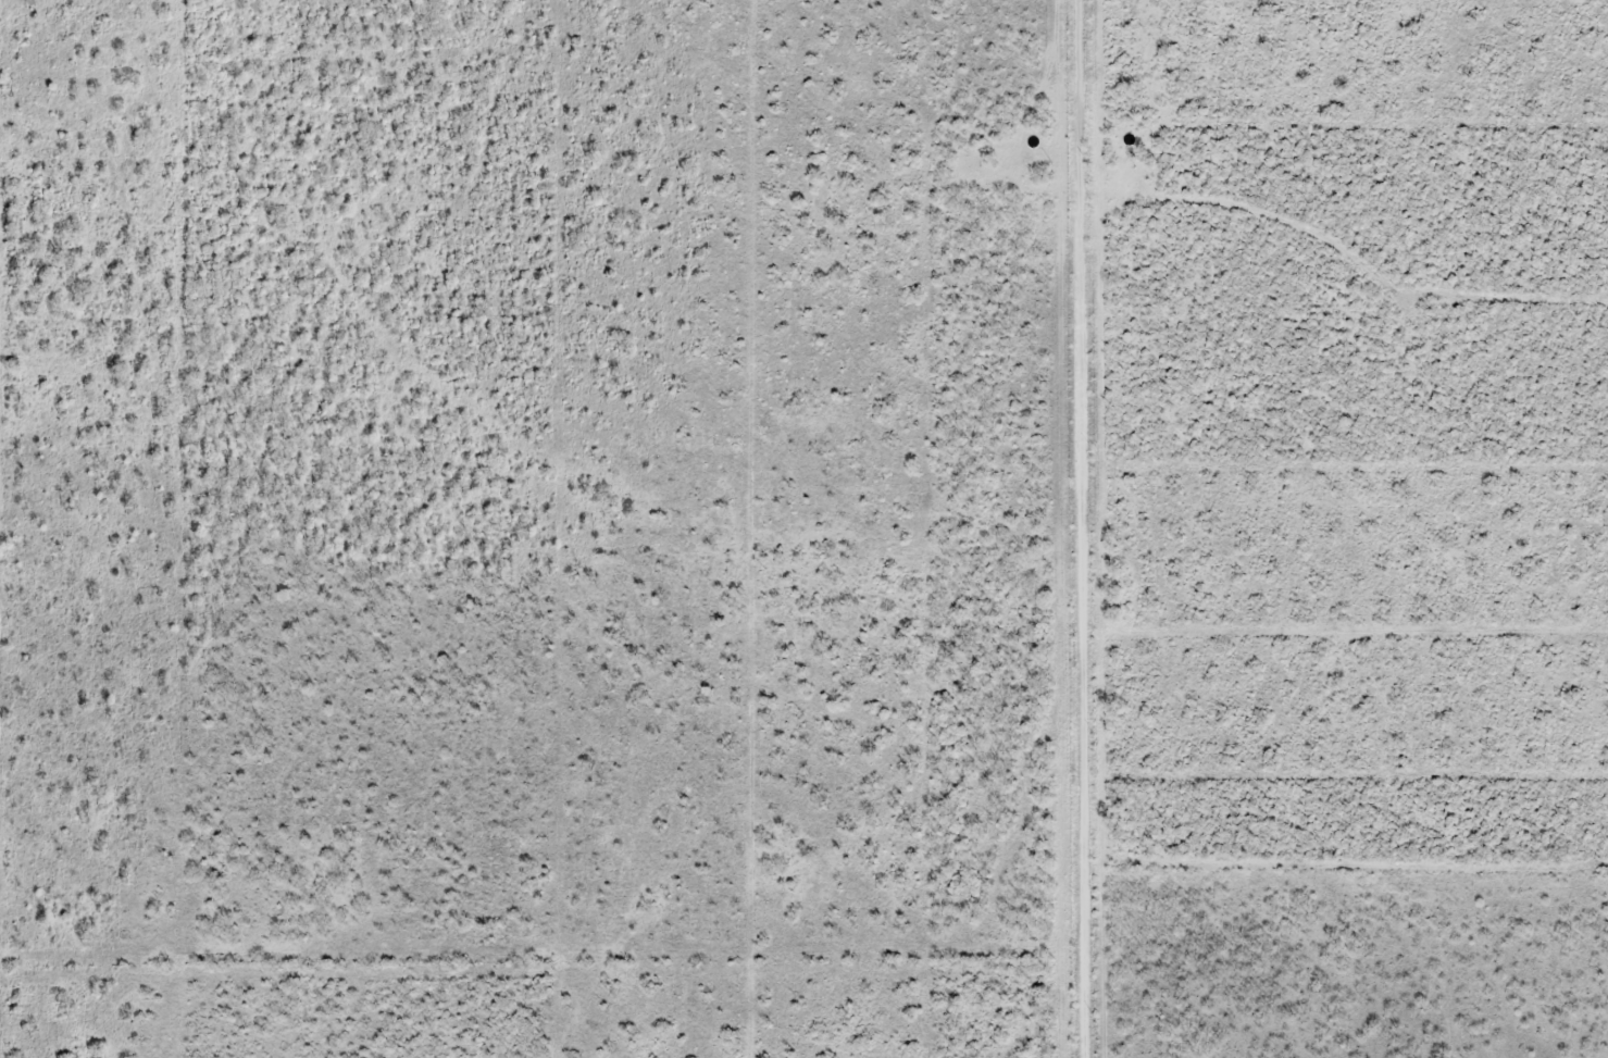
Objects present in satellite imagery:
road: (1082, 528)

